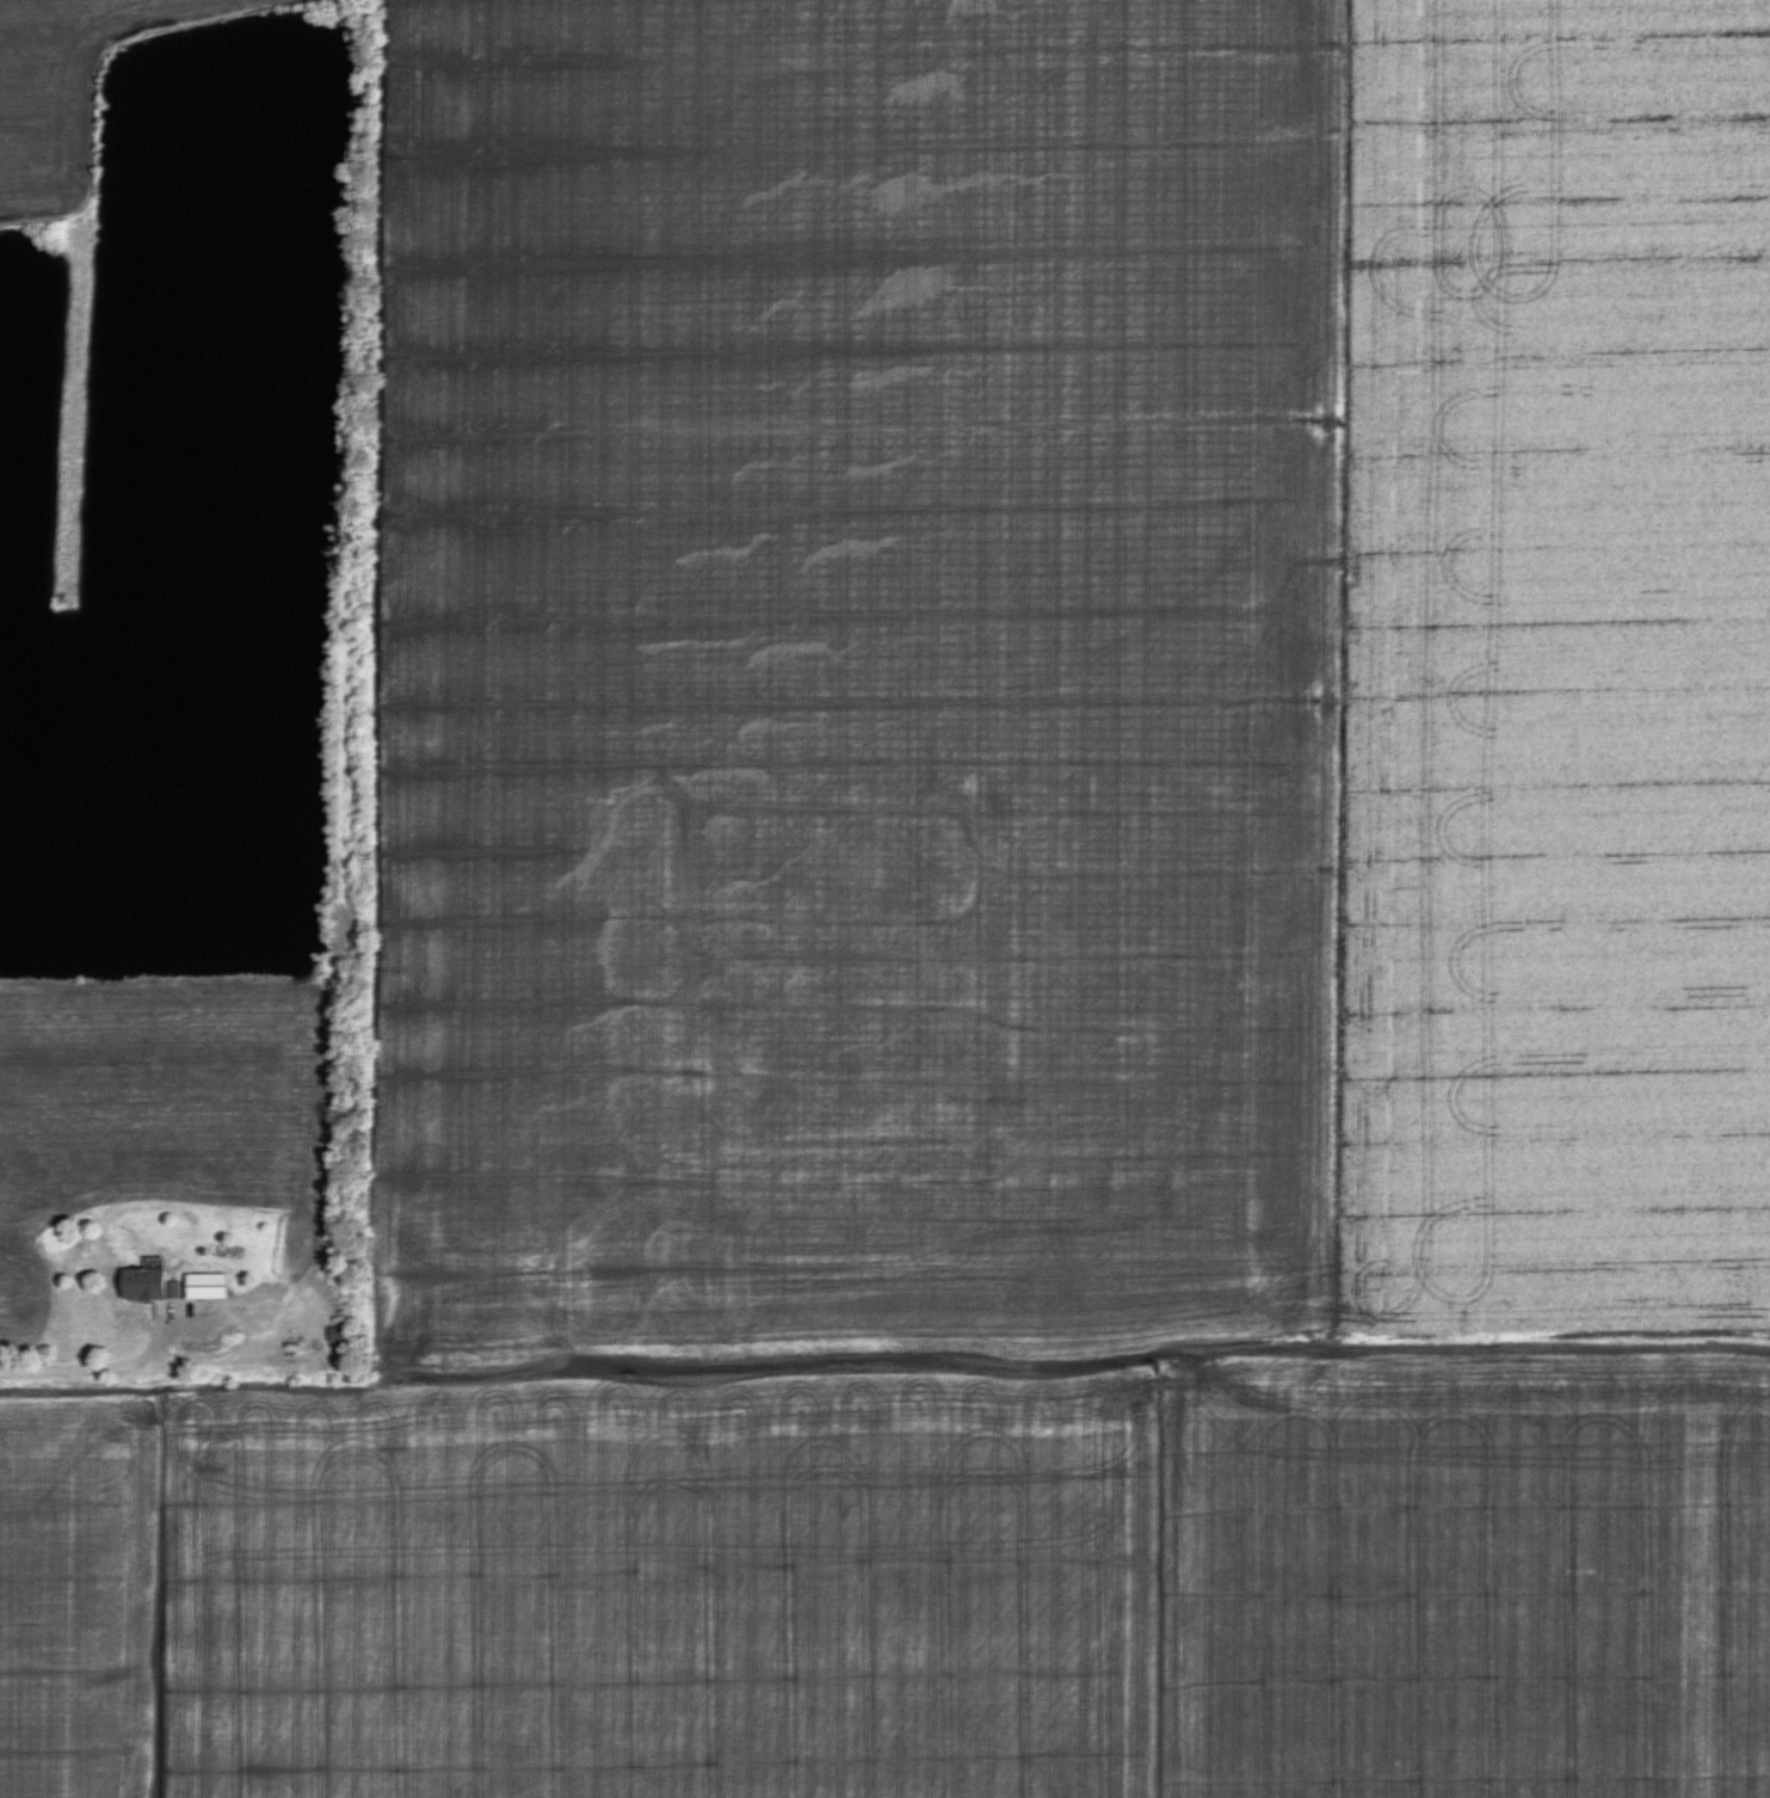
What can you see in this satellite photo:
road: (90, 1365)

